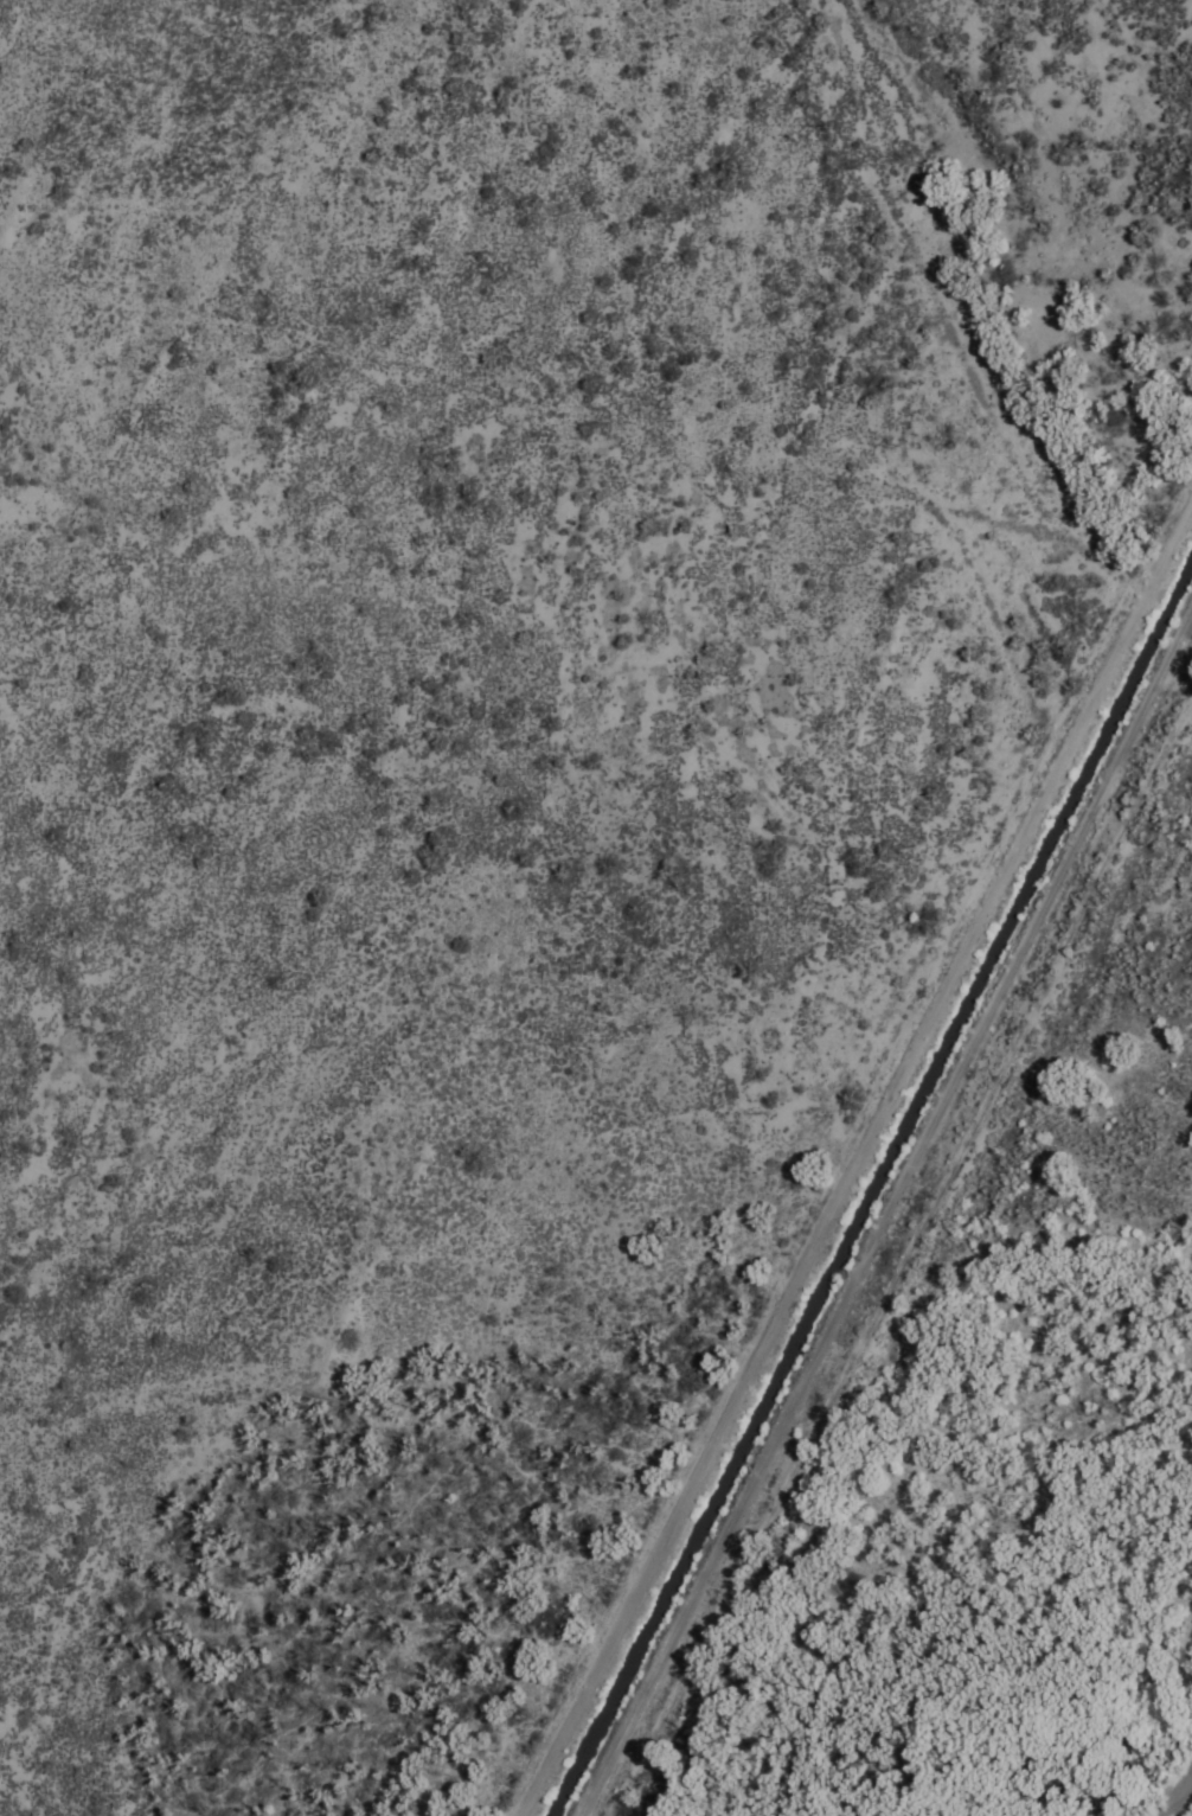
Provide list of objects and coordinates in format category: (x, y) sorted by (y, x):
river: (1185, 1804)

